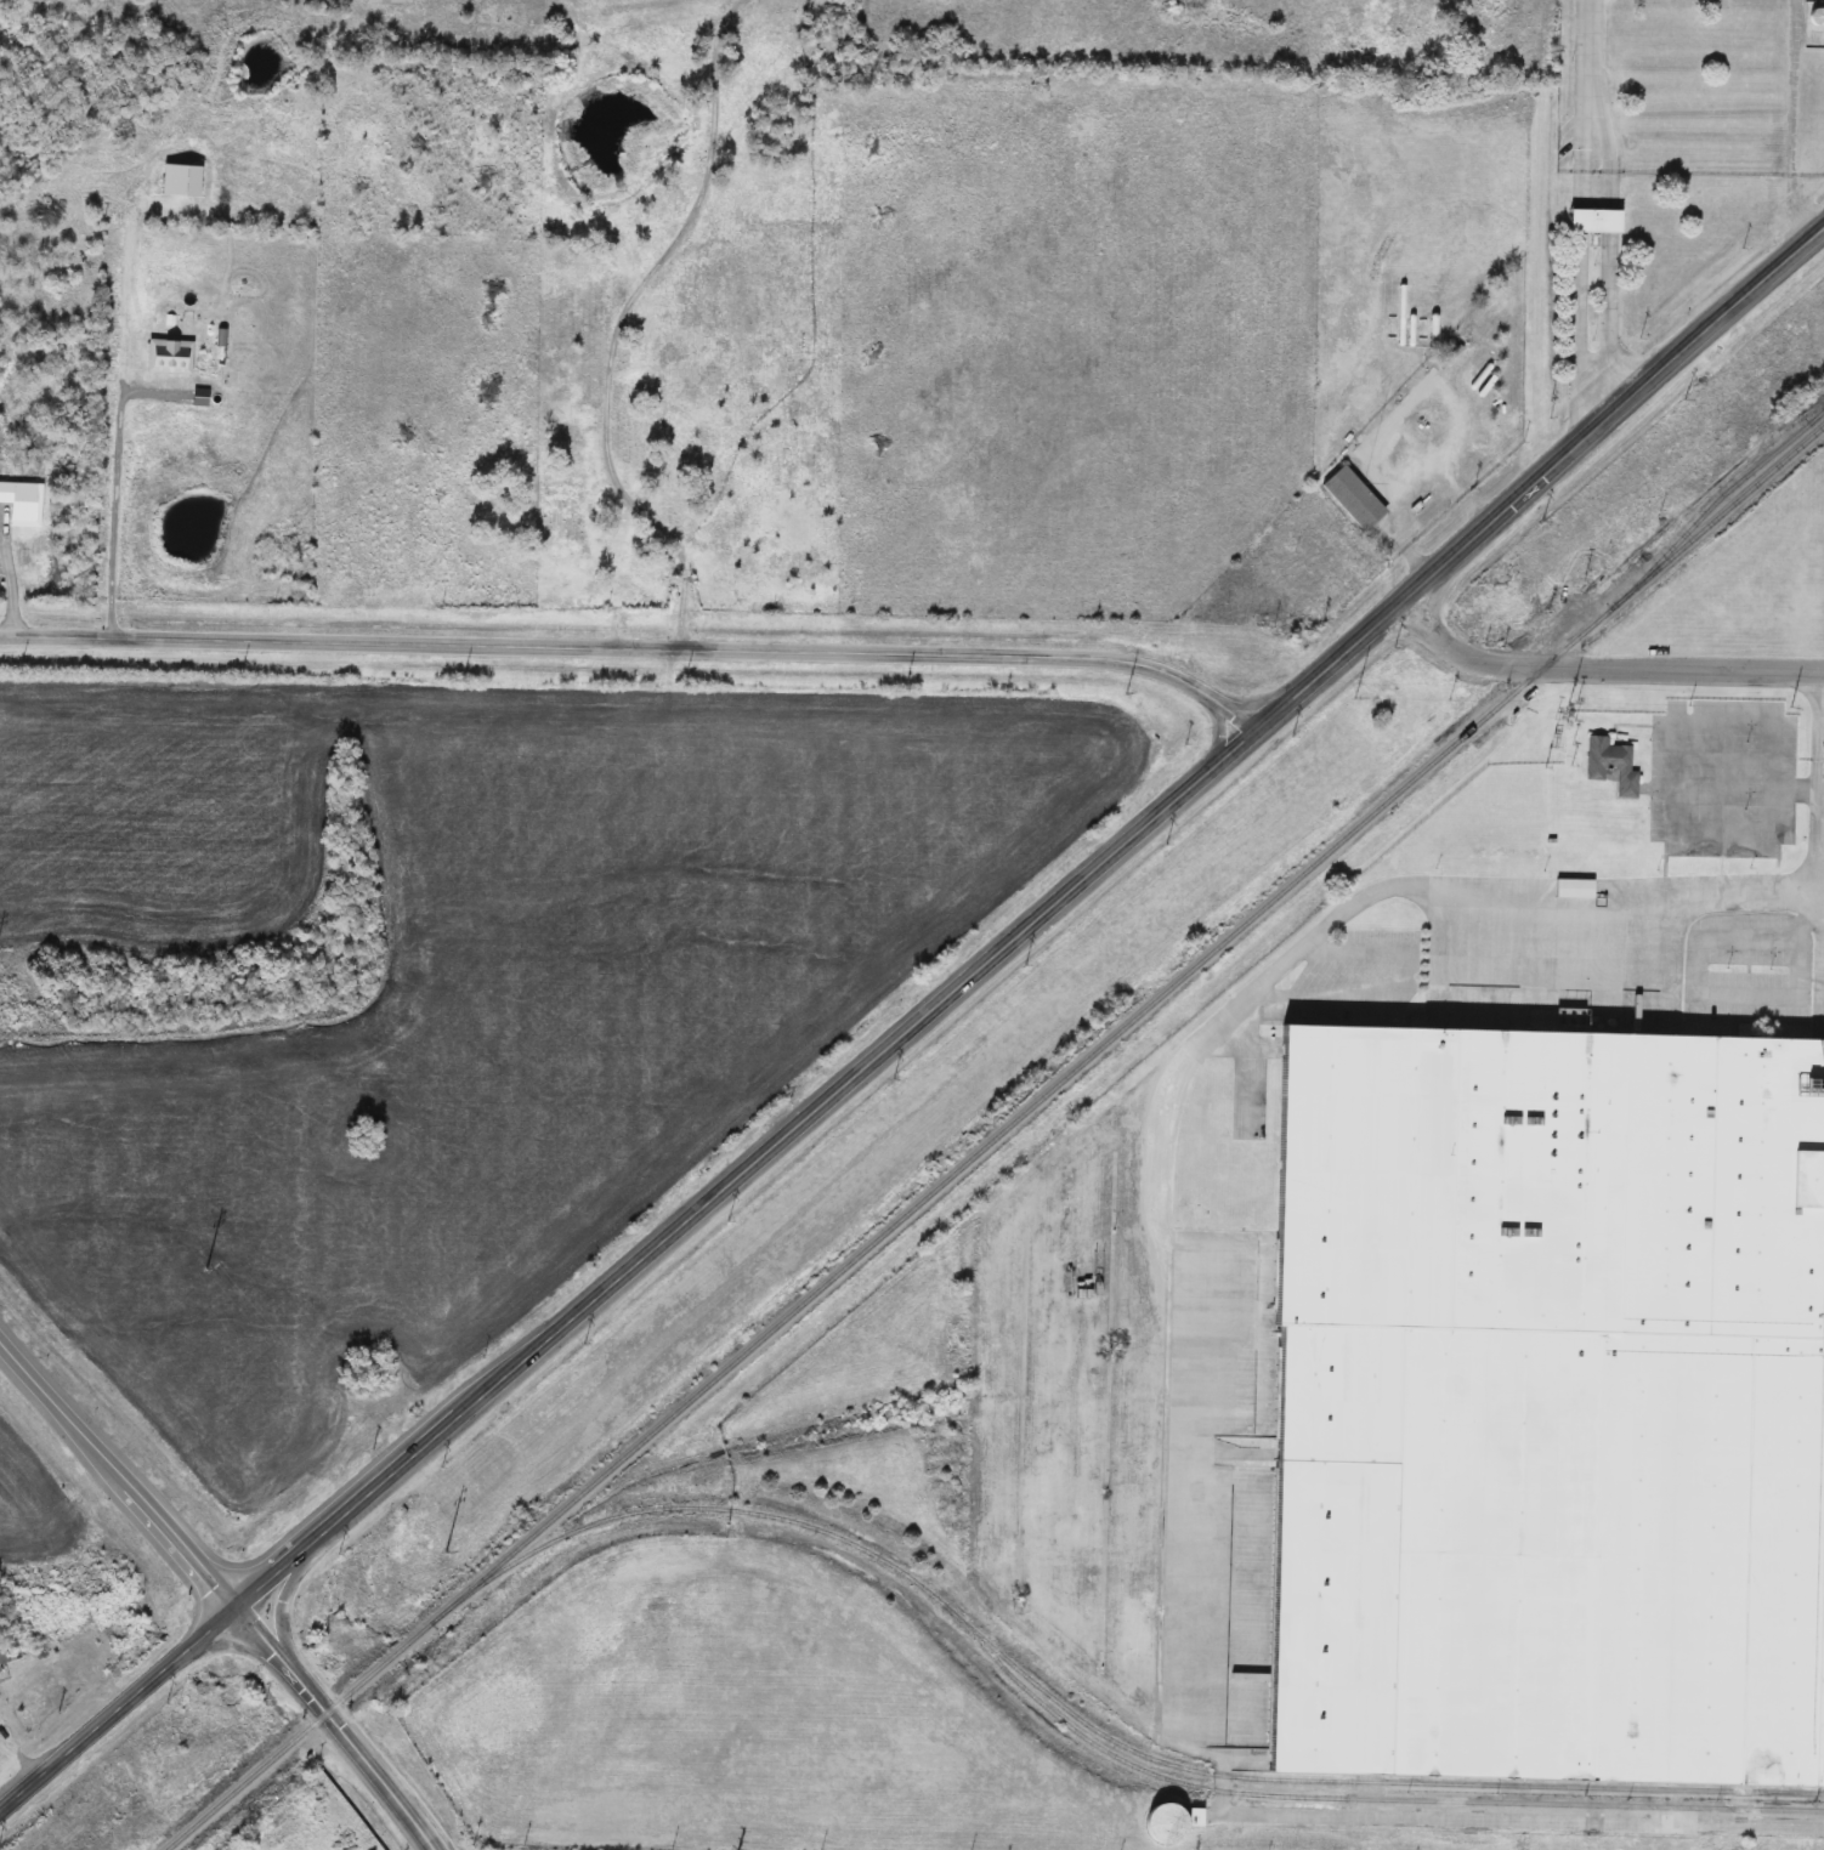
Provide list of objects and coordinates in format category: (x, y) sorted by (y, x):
building: (384, 1)
road: (1591, 63)
building: (1593, 223)
road: (1610, 267)
road: (1577, 284)
road: (618, 320)
power tower: (1683, 403)
railway: (1818, 419)
railway: (1818, 419)
road: (119, 488)
building: (1354, 499)
railway: (1711, 510)
building: (557, 513)
power tower: (1535, 527)
road: (639, 651)
road: (1466, 656)
road: (1683, 674)
road: (1224, 732)
building: (1611, 767)
power tower: (1163, 847)
road: (1822, 857)
building: (1575, 891)
parking lot: (1728, 961)
power tower: (1036, 963)
road: (914, 1027)
road: (1219, 1029)
power tower: (901, 1079)
railway: (996, 1137)
power tower: (729, 1224)
power tower: (588, 1349)
building: (1548, 1406)
road: (121, 1452)
power tower: (338, 1560)
building: (4, 1661)
road: (346, 1725)
railway: (1097, 1729)

